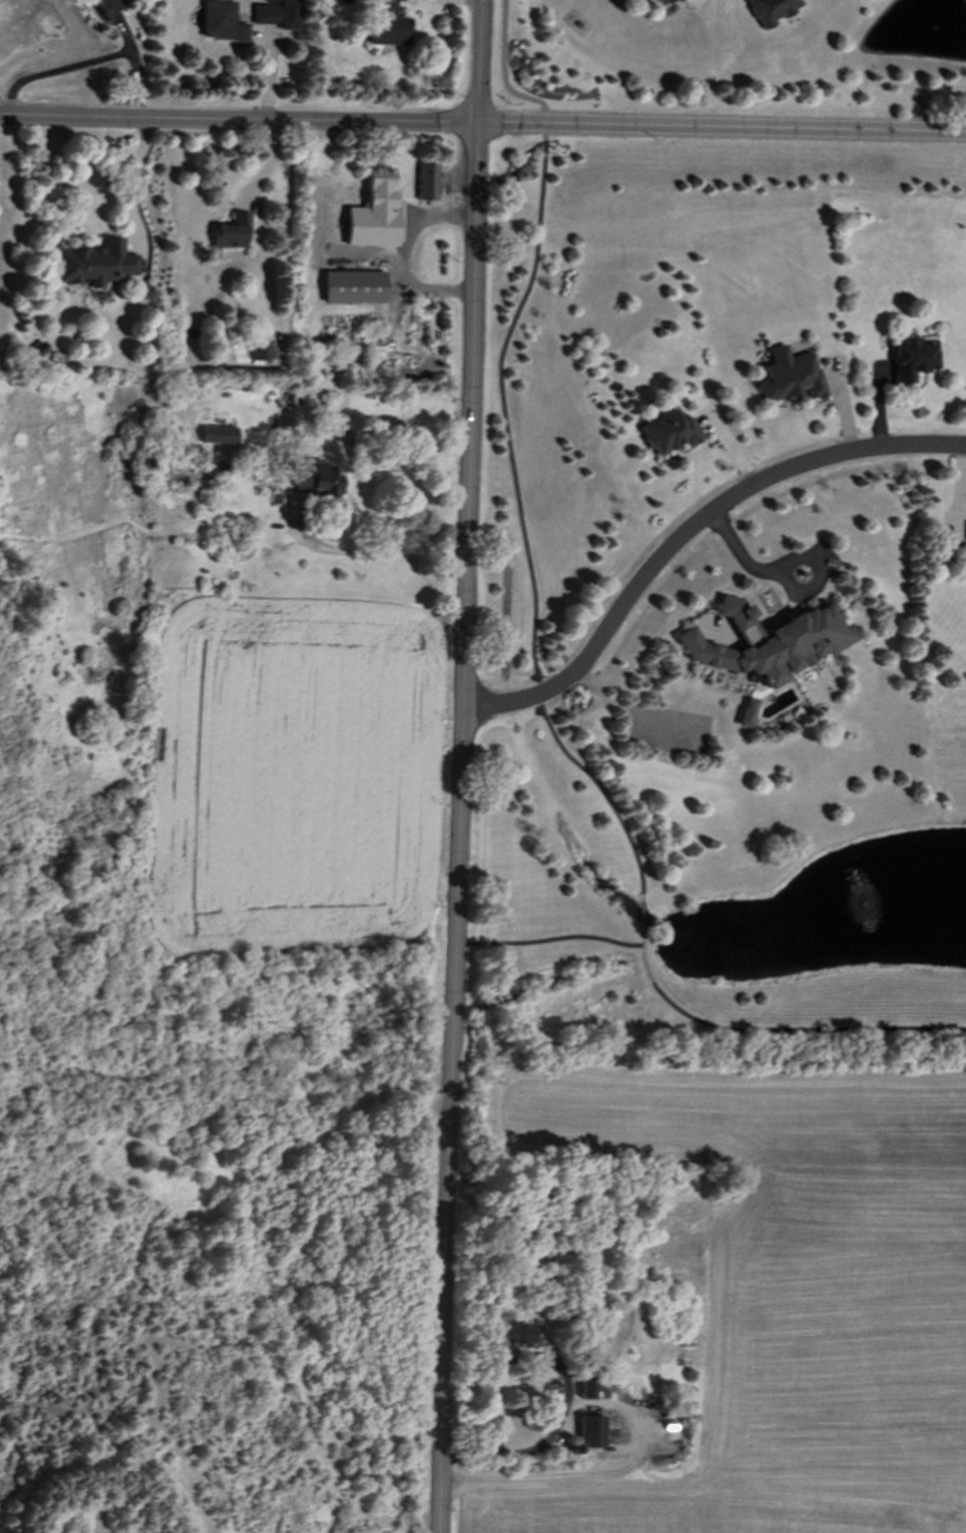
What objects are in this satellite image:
building: (662, 1)
building: (677, 1)
building: (107, 6)
building: (769, 10)
building: (276, 14)
building: (219, 22)
building: (386, 25)
road: (70, 65)
road: (252, 120)
road: (735, 128)
road: (735, 128)
road: (130, 175)
building: (425, 182)
building: (373, 212)
building: (230, 232)
building: (95, 264)
building: (352, 287)
building: (260, 350)
building: (911, 359)
building: (787, 376)
building: (669, 432)
building: (217, 435)
road: (507, 450)
building: (316, 480)
road: (689, 534)
road: (380, 549)
road: (748, 564)
park: (559, 595)
building: (766, 642)
building: (744, 713)
road: (462, 766)
crop: (297, 778)
road: (642, 915)
road: (549, 939)
road: (776, 1029)
crop: (769, 1283)
building: (517, 1333)
building: (585, 1388)
building: (588, 1432)
road: (541, 1442)

